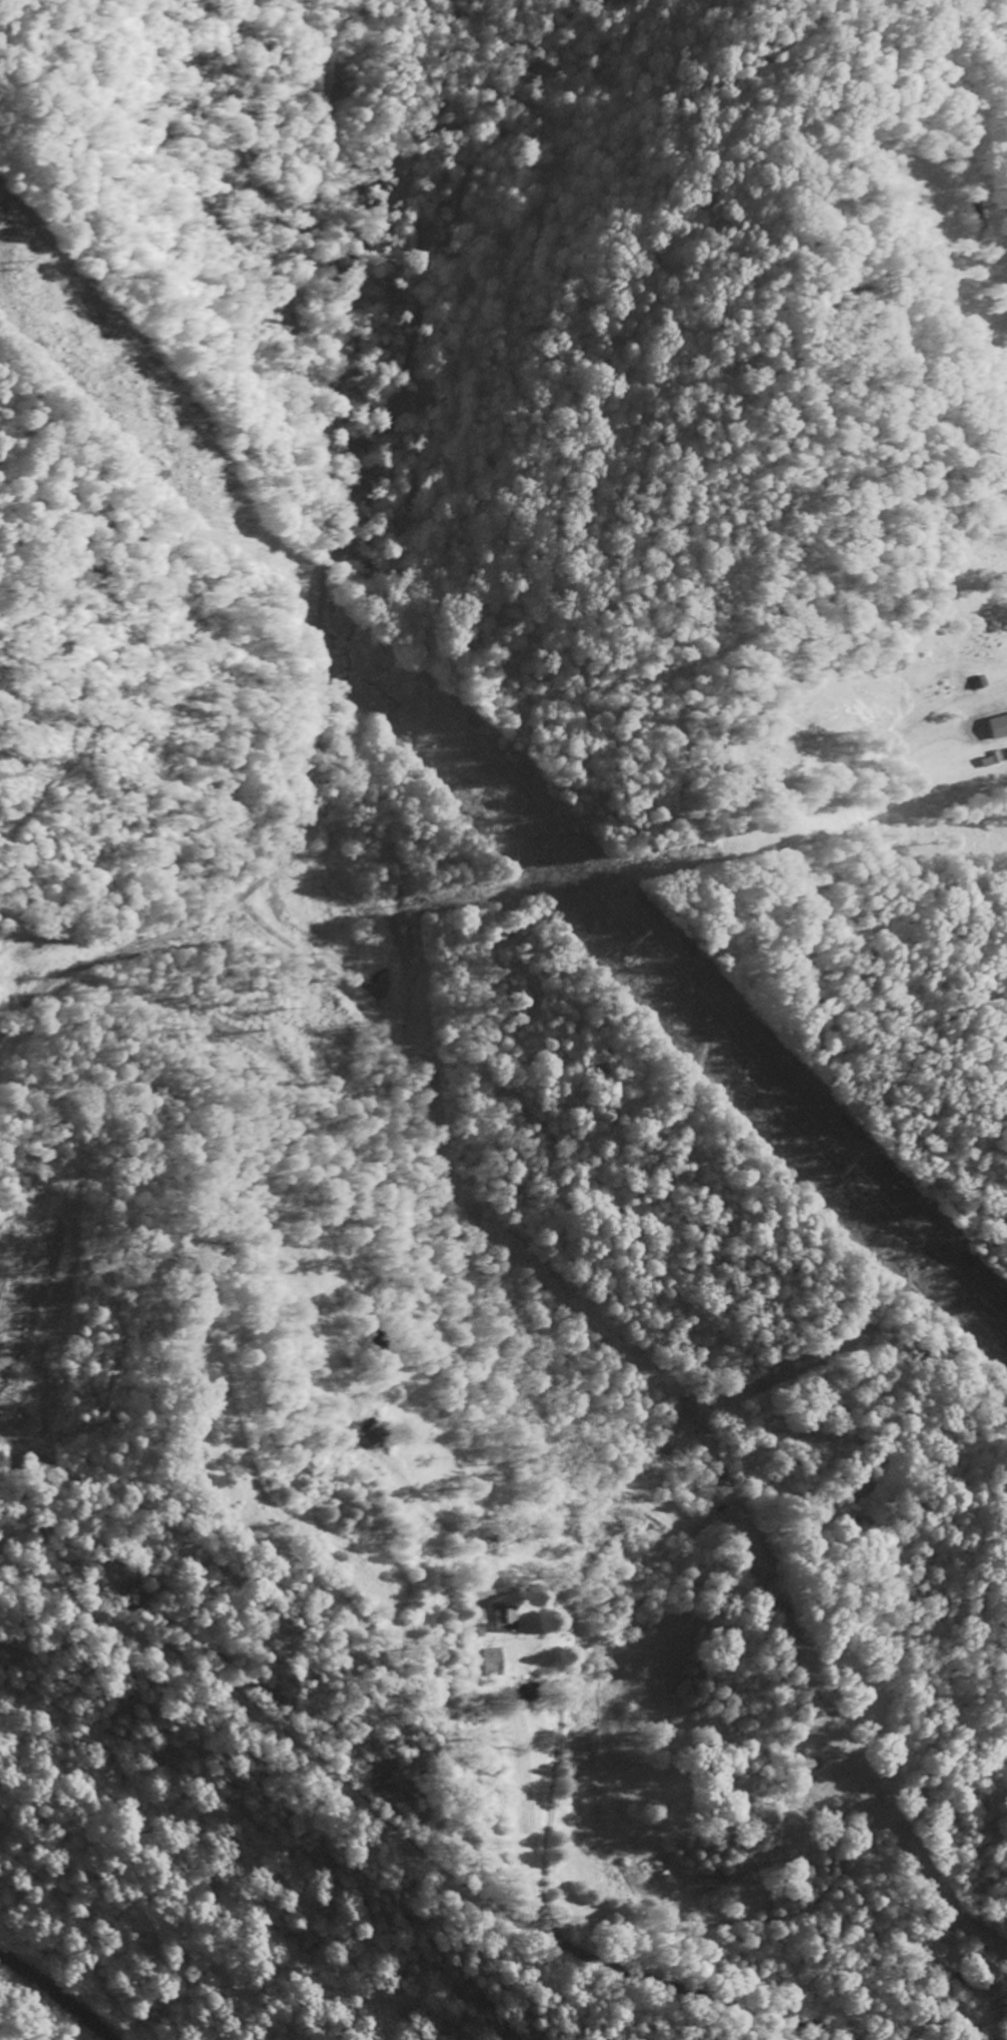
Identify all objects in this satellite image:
power tower: (27, 270)
power tower: (643, 940)
power tower: (849, 1171)
road: (410, 1710)
road: (557, 1728)
road: (332, 1773)
railway: (57, 1992)
road: (762, 2009)

